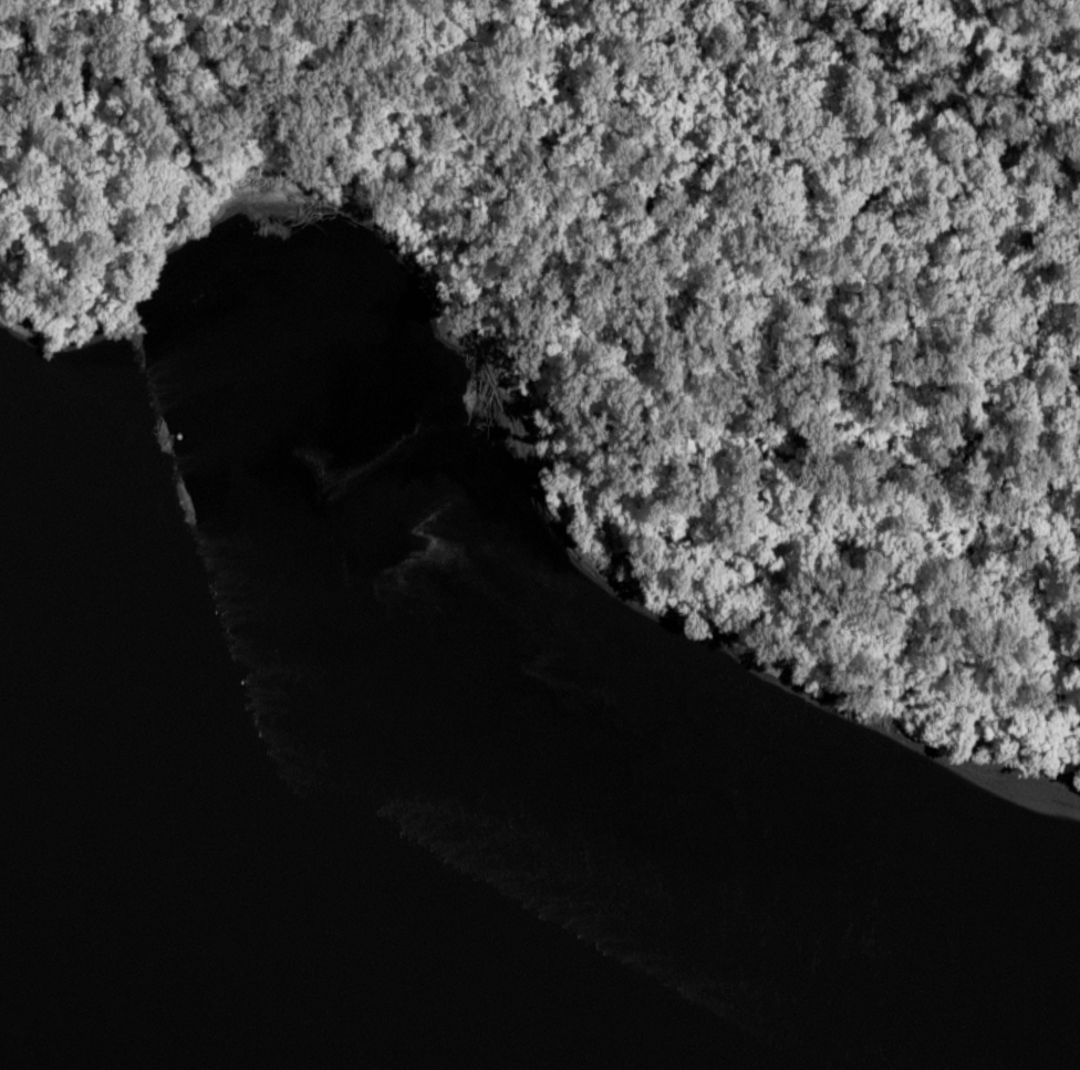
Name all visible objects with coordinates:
river: (77, 1029)

